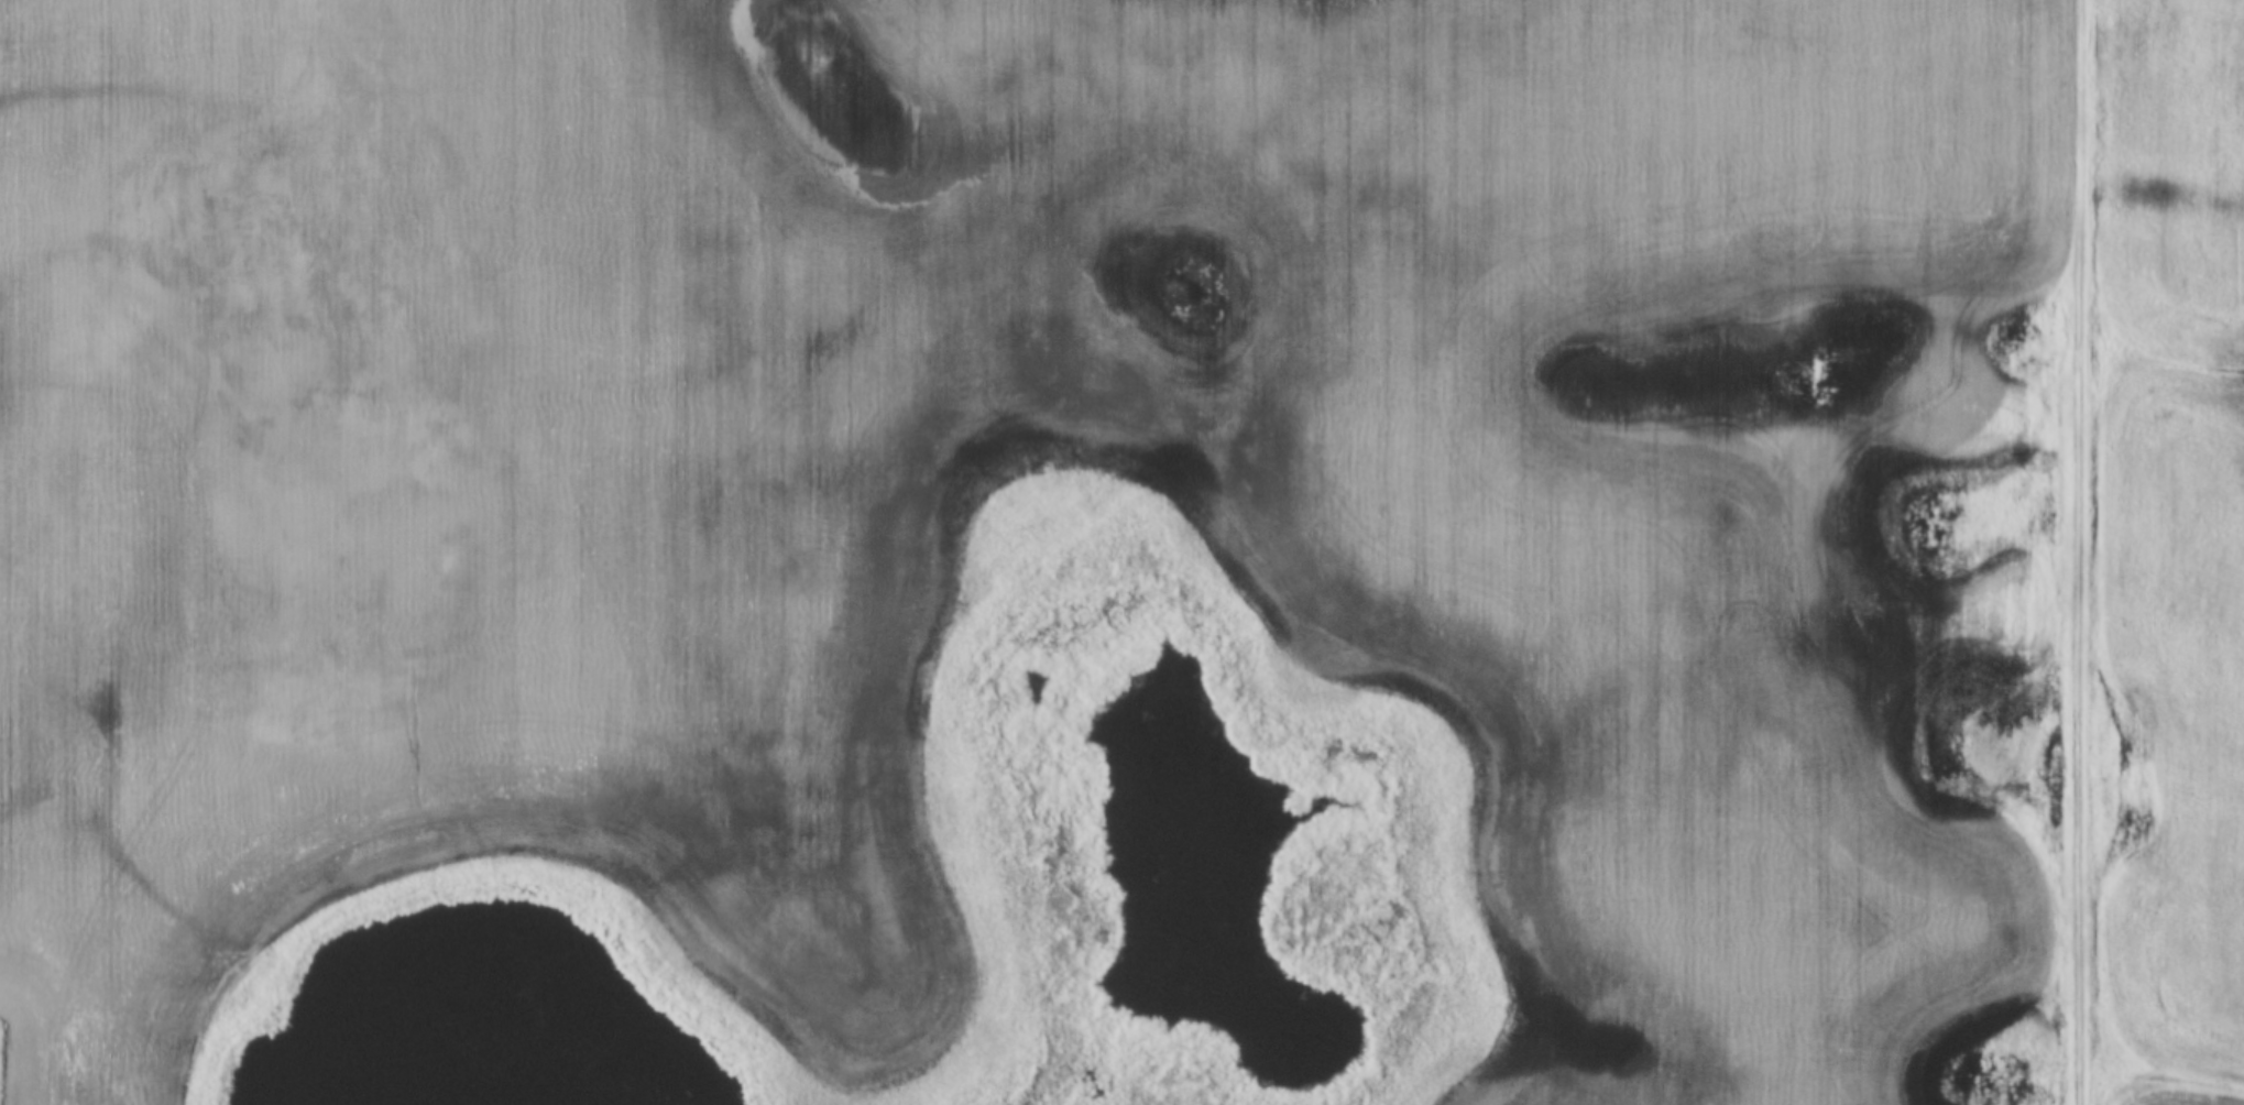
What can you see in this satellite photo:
road: (2081, 552)

